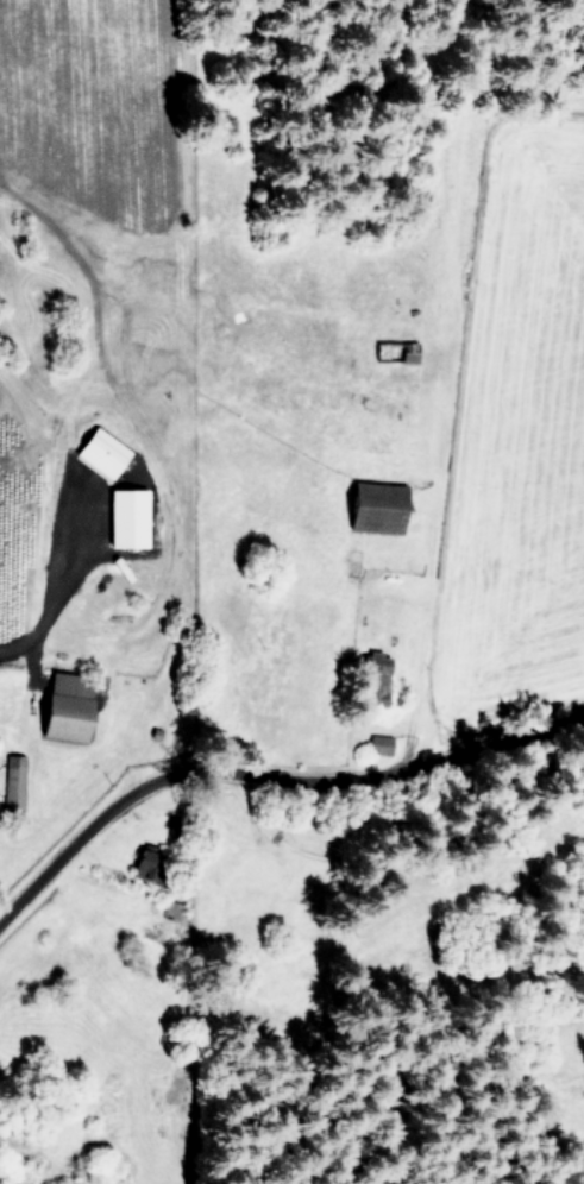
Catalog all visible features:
building: (99, 451)
building: (373, 505)
building: (125, 517)
road: (61, 573)
building: (64, 705)
building: (378, 744)
road: (268, 776)
building: (12, 783)
road: (394, 851)
building: (143, 864)

